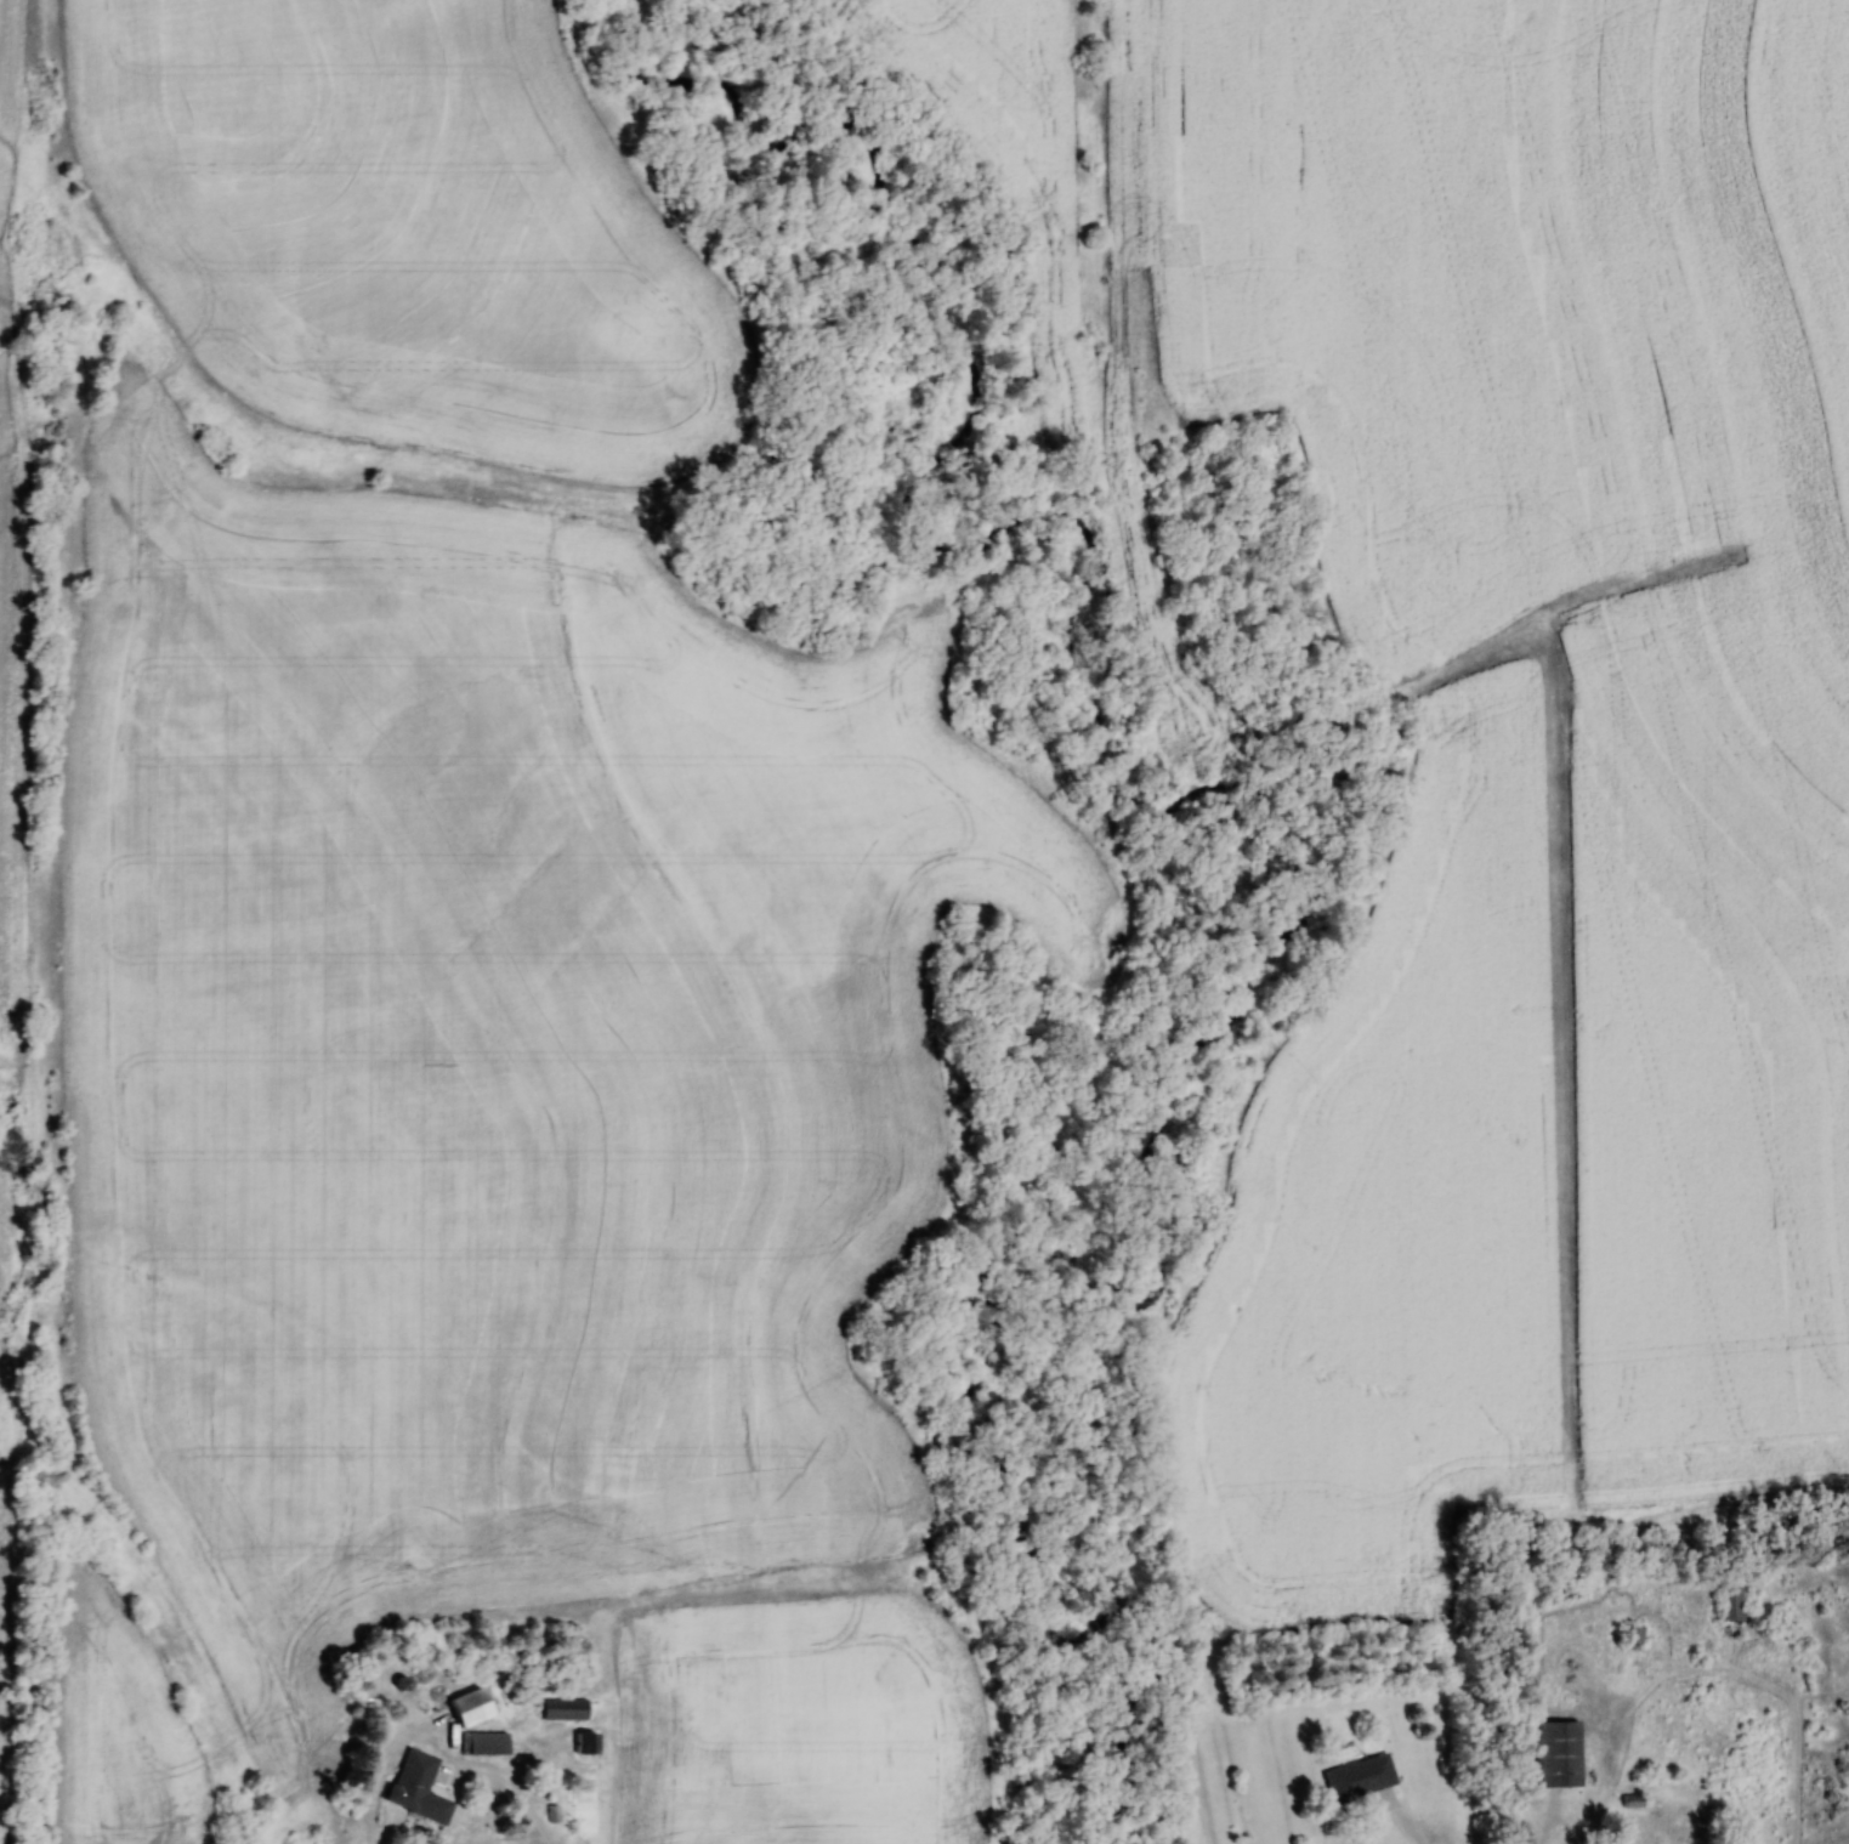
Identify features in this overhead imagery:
building: (1726, 1604)
building: (463, 1708)
building: (558, 1710)
building: (480, 1744)
building: (579, 1746)
building: (1552, 1755)
road: (382, 1769)
building: (1354, 1778)
building: (412, 1788)
road: (517, 1793)
road: (1406, 1823)

